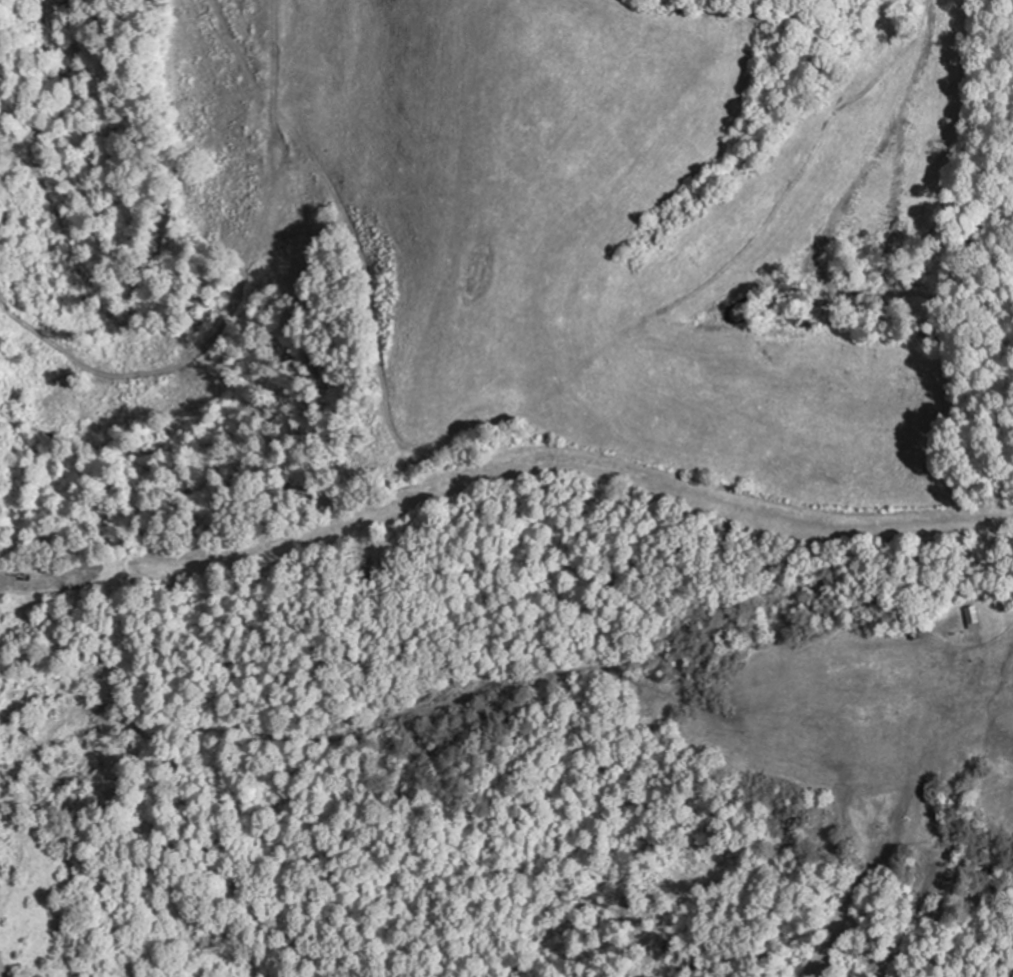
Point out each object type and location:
building: (972, 616)
road: (163, 726)
road: (36, 913)

